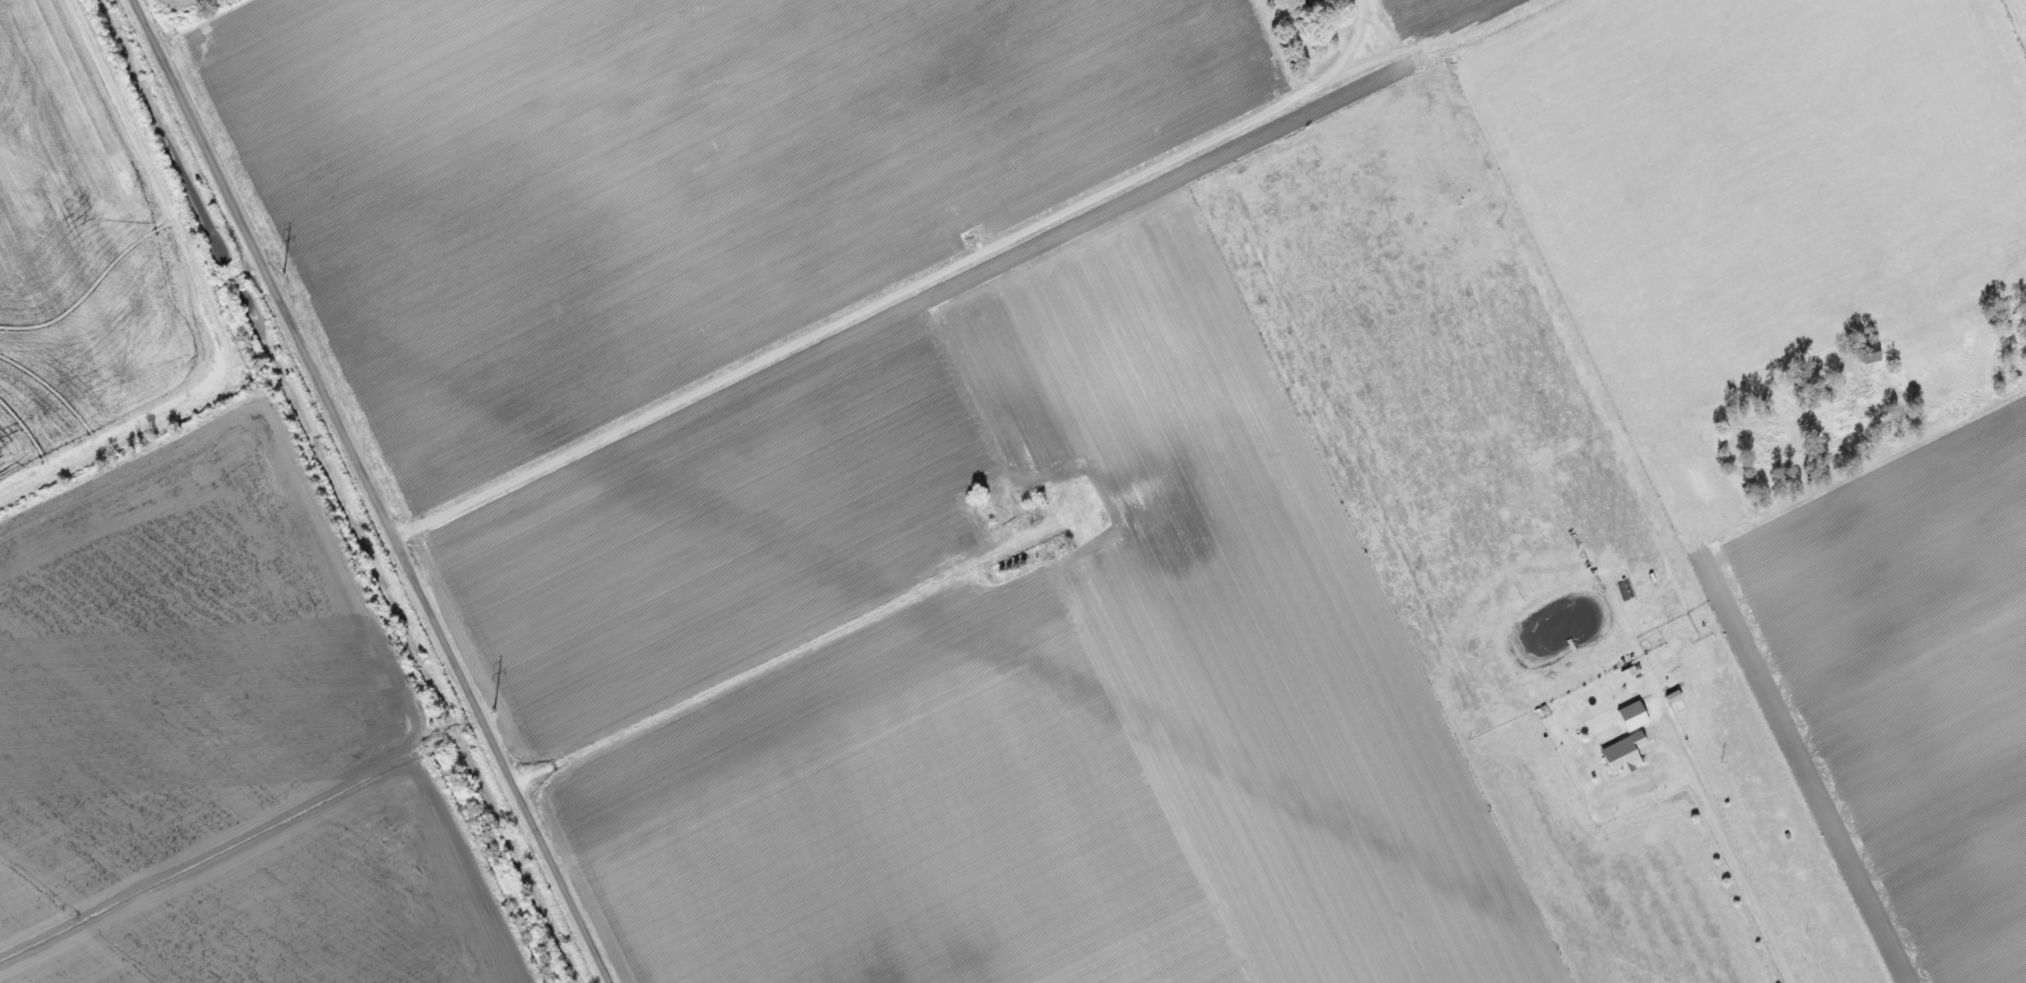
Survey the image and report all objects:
building: (1307, 2)
power tower: (278, 273)
road: (898, 287)
road: (369, 490)
road: (781, 656)
power tower: (488, 708)
road: (1728, 852)

